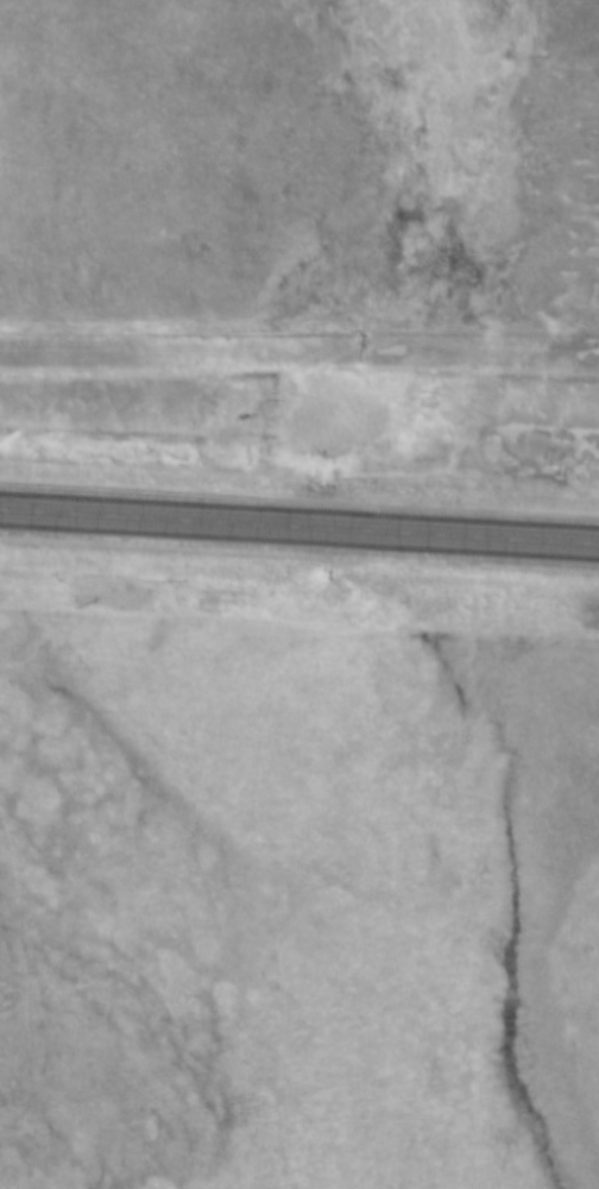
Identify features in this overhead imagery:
road: (298, 518)

